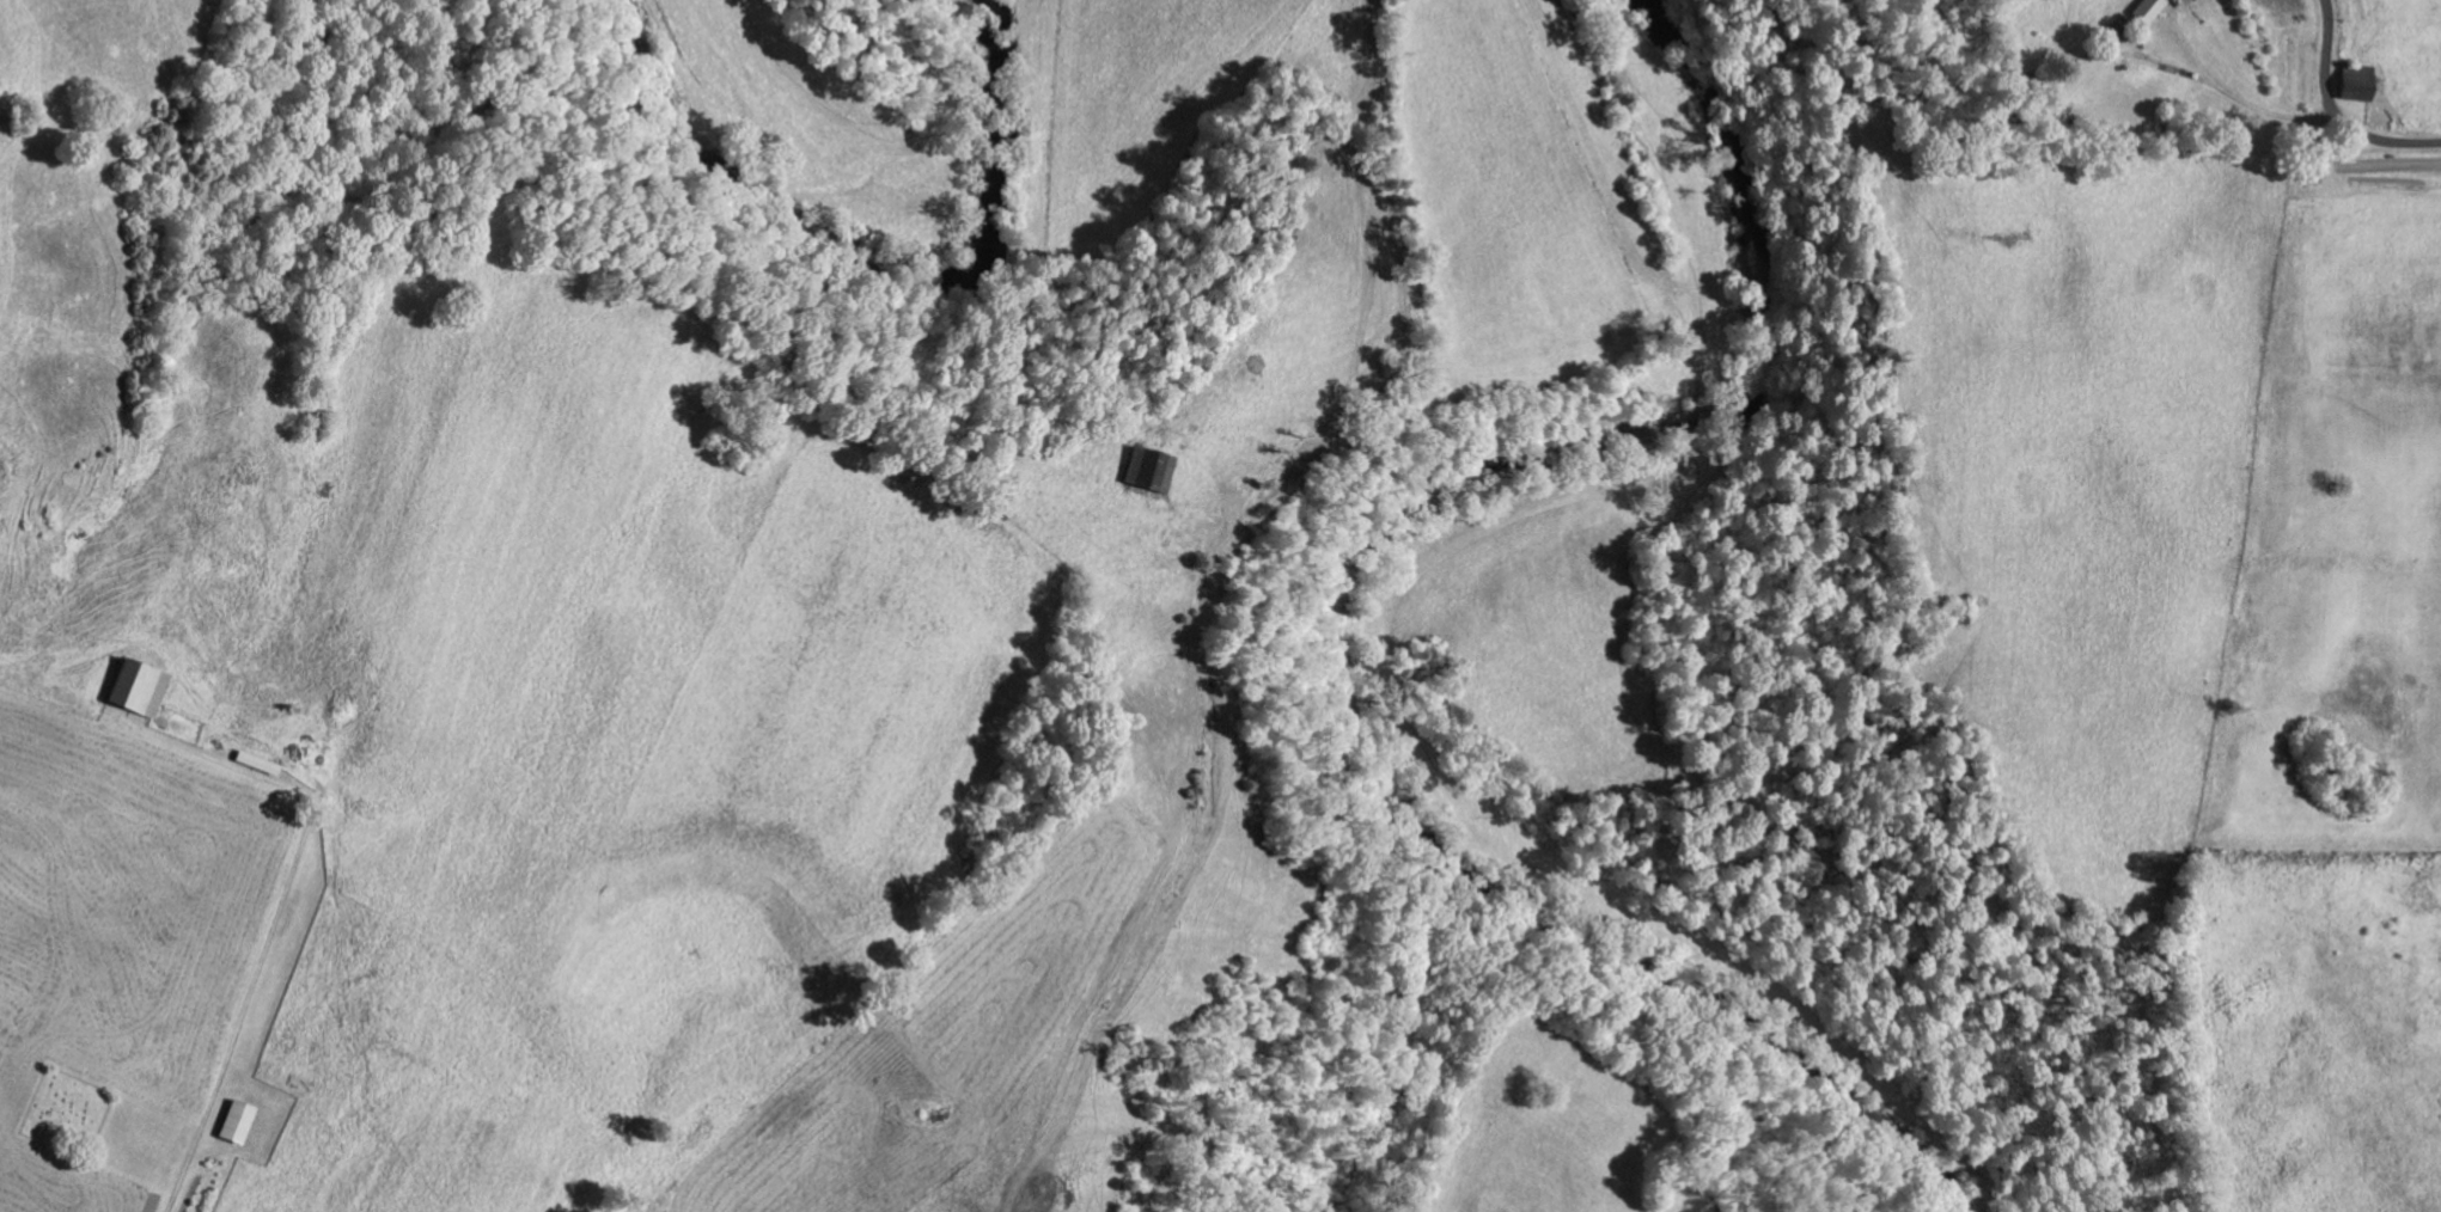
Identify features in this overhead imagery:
building: (2150, 10)
building: (2122, 29)
building: (2360, 86)
road: (2337, 110)
building: (1151, 466)
building: (139, 686)
road: (255, 941)
building: (239, 1120)

